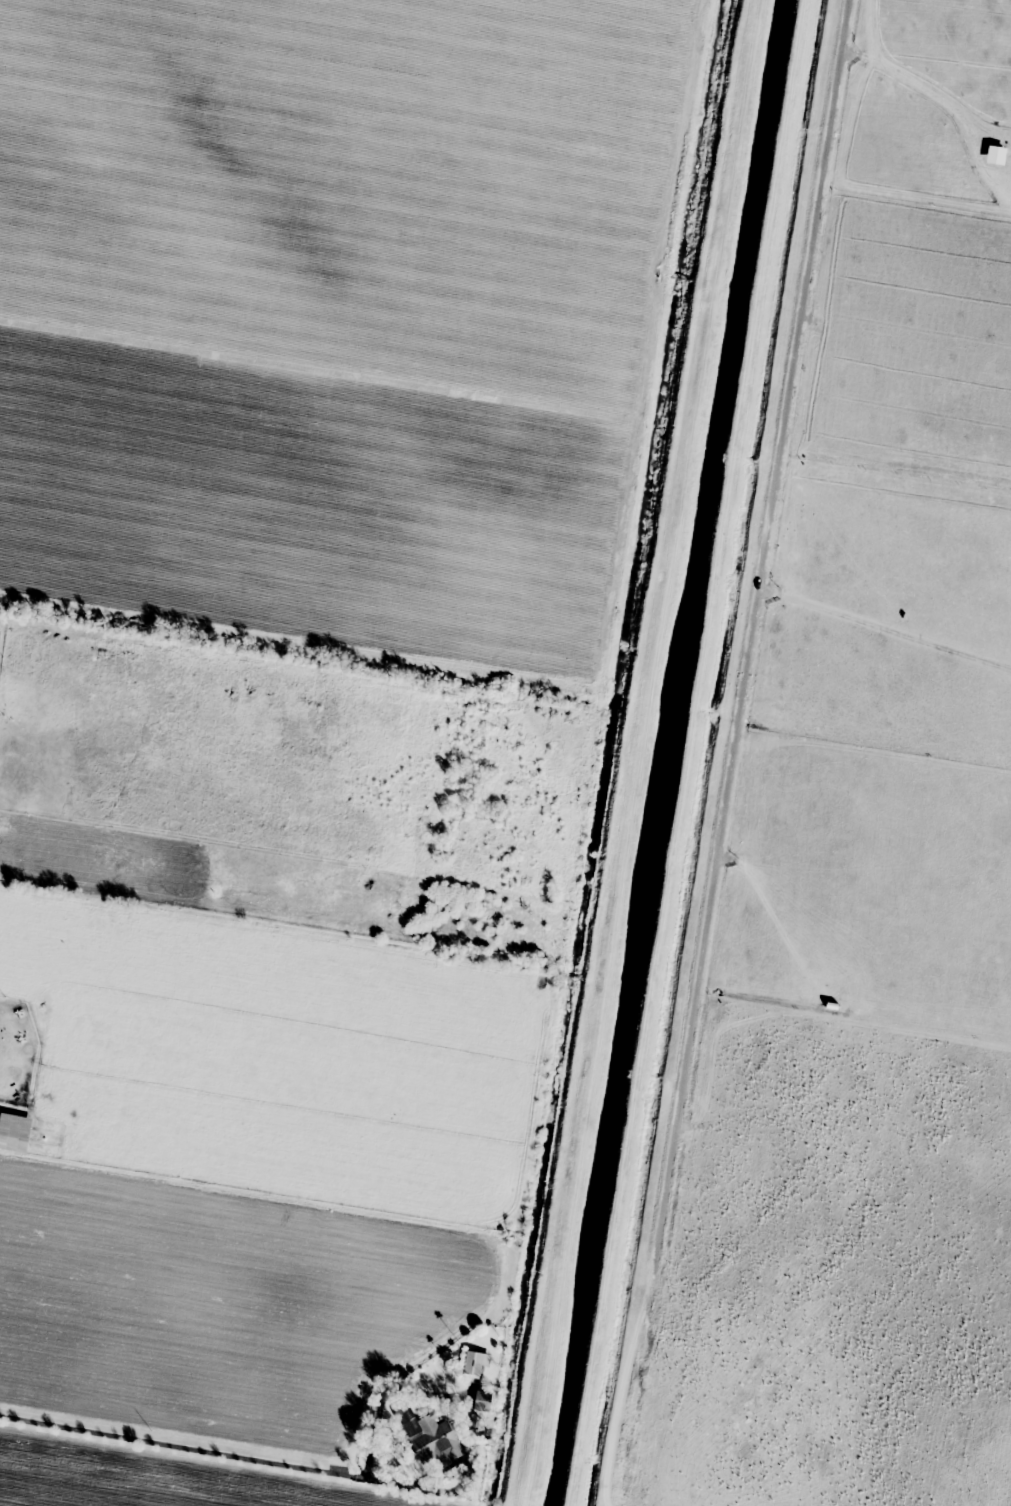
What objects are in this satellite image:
building: (475, 1362)
road: (56, 1389)
building: (483, 1401)
building: (428, 1434)

